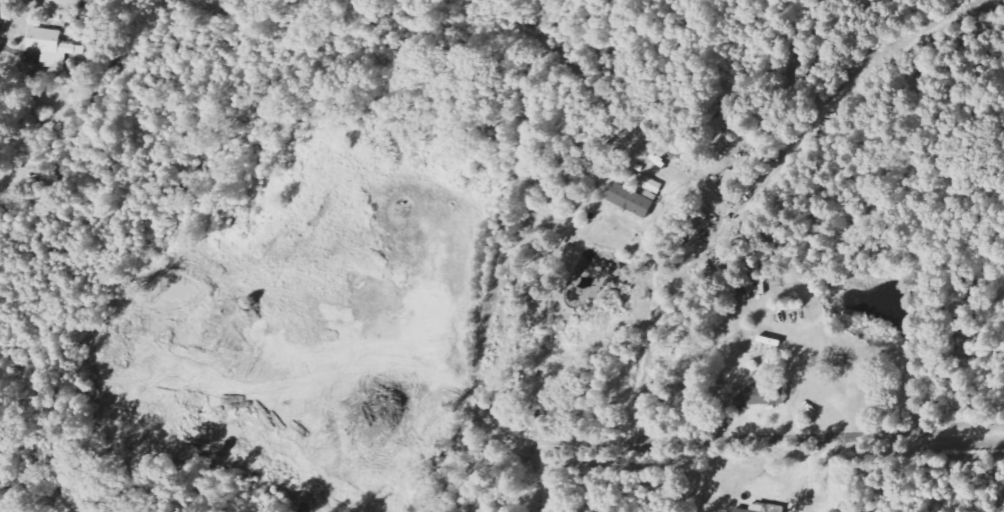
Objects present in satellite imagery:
building: (53, 46)
building: (647, 183)
building: (633, 199)
building: (762, 396)
road: (815, 435)
building: (767, 509)

